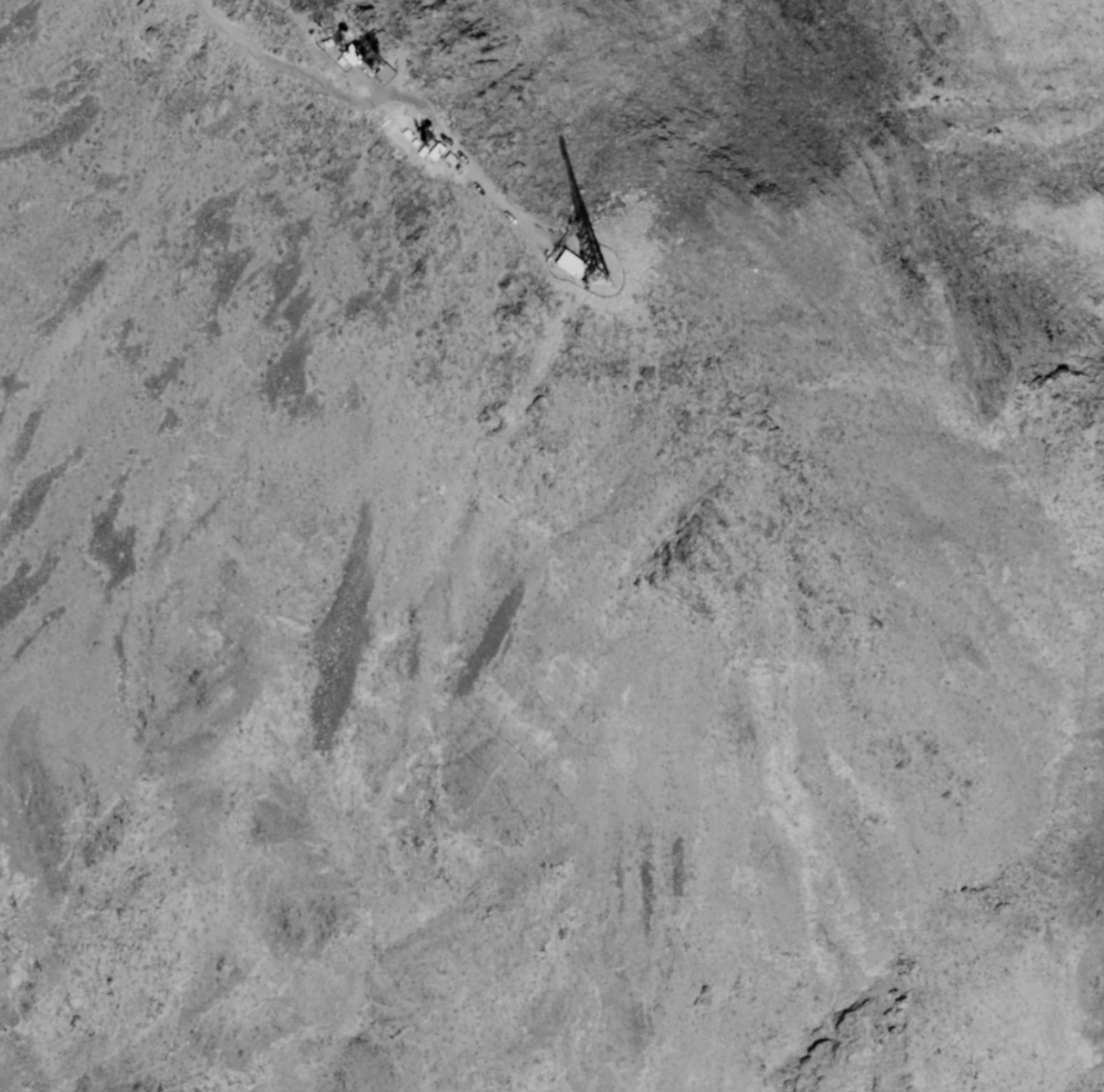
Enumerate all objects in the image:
road: (390, 95)

